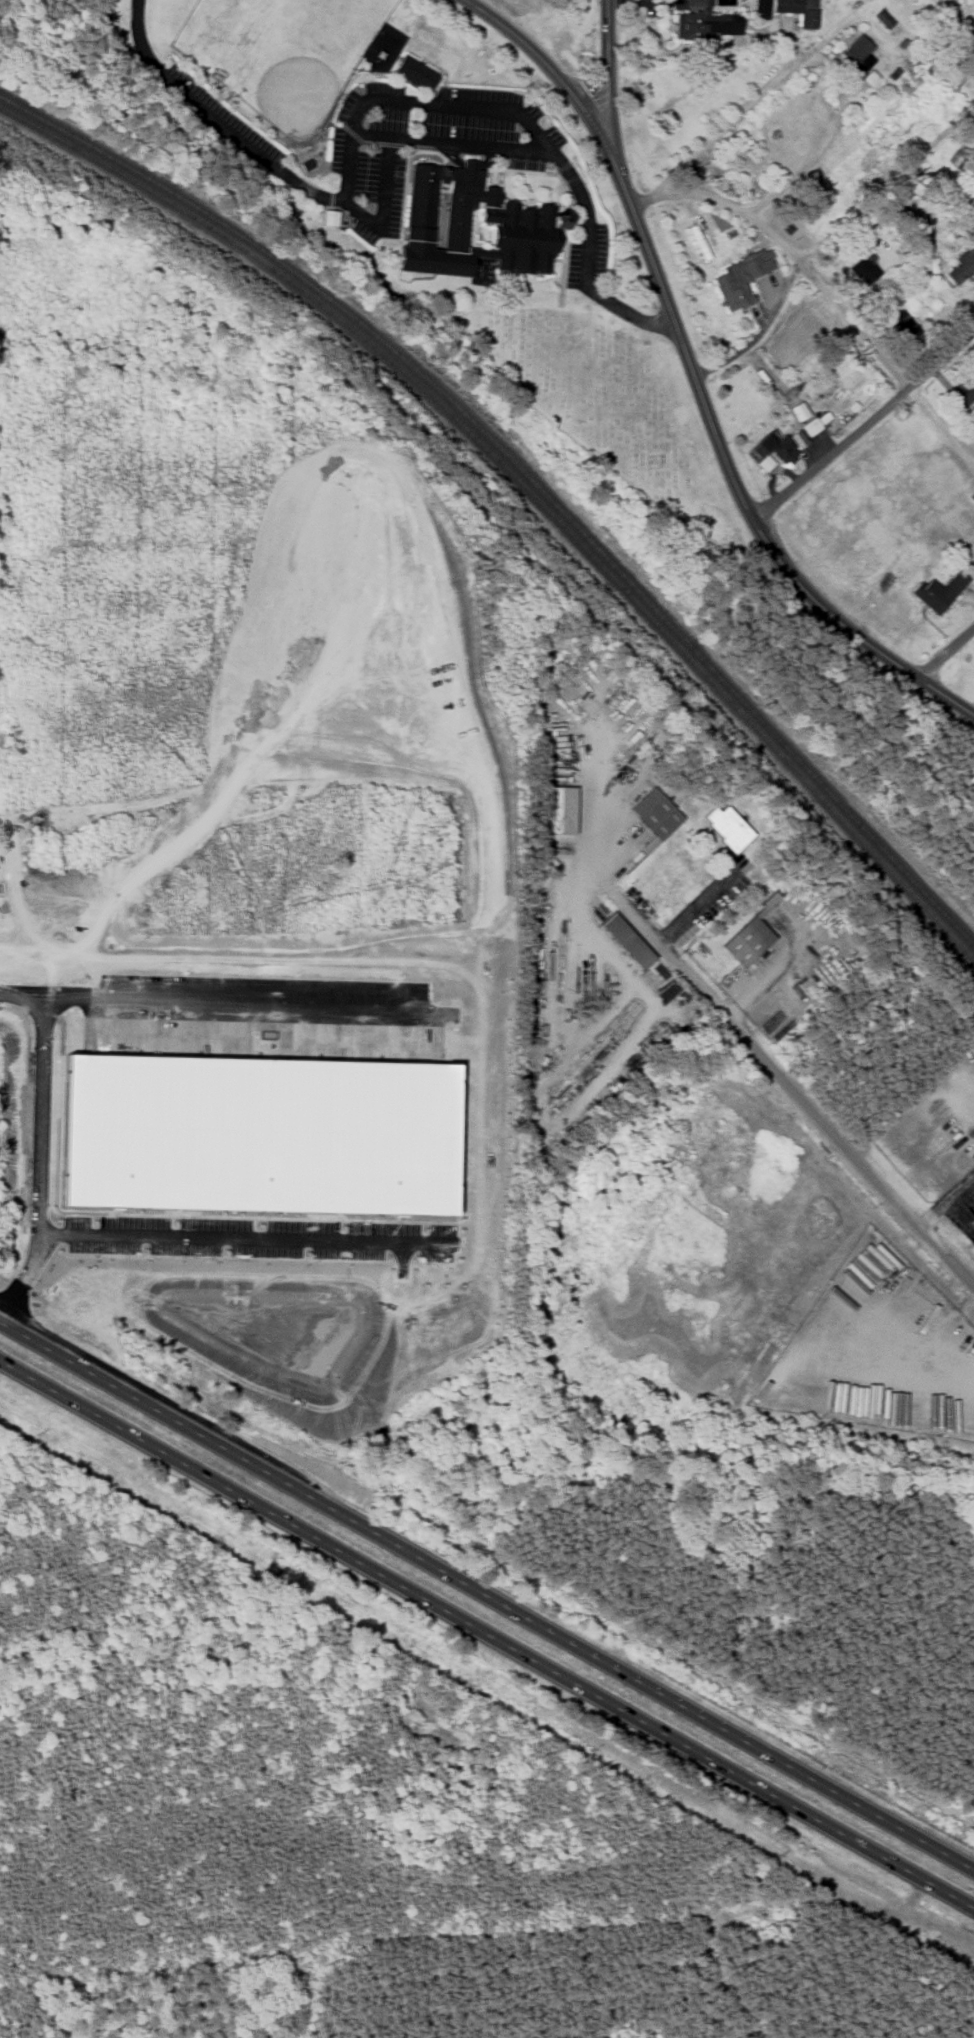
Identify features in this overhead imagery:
building: (759, 7)
building: (795, 11)
building: (884, 18)
building: (699, 21)
road: (531, 49)
building: (854, 55)
road: (607, 59)
building: (416, 74)
road: (414, 101)
railway: (39, 117)
road: (718, 128)
road: (371, 137)
road: (388, 153)
road: (806, 164)
road: (722, 203)
building: (472, 226)
road: (828, 236)
building: (865, 266)
building: (959, 268)
building: (738, 278)
building: (905, 325)
road: (761, 331)
road: (884, 362)
building: (962, 391)
building: (800, 411)
building: (812, 426)
road: (864, 427)
building: (775, 449)
road: (723, 457)
railway: (524, 488)
railway: (555, 507)
building: (936, 592)
road: (945, 653)
building: (654, 815)
building: (726, 828)
road: (617, 895)
building: (624, 941)
building: (744, 944)
road: (209, 995)
road: (784, 1084)
building: (249, 1128)
road: (45, 1157)
road: (961, 1189)
road: (961, 1211)
road: (935, 1213)
road: (246, 1231)
road: (487, 1590)
road: (487, 1638)

